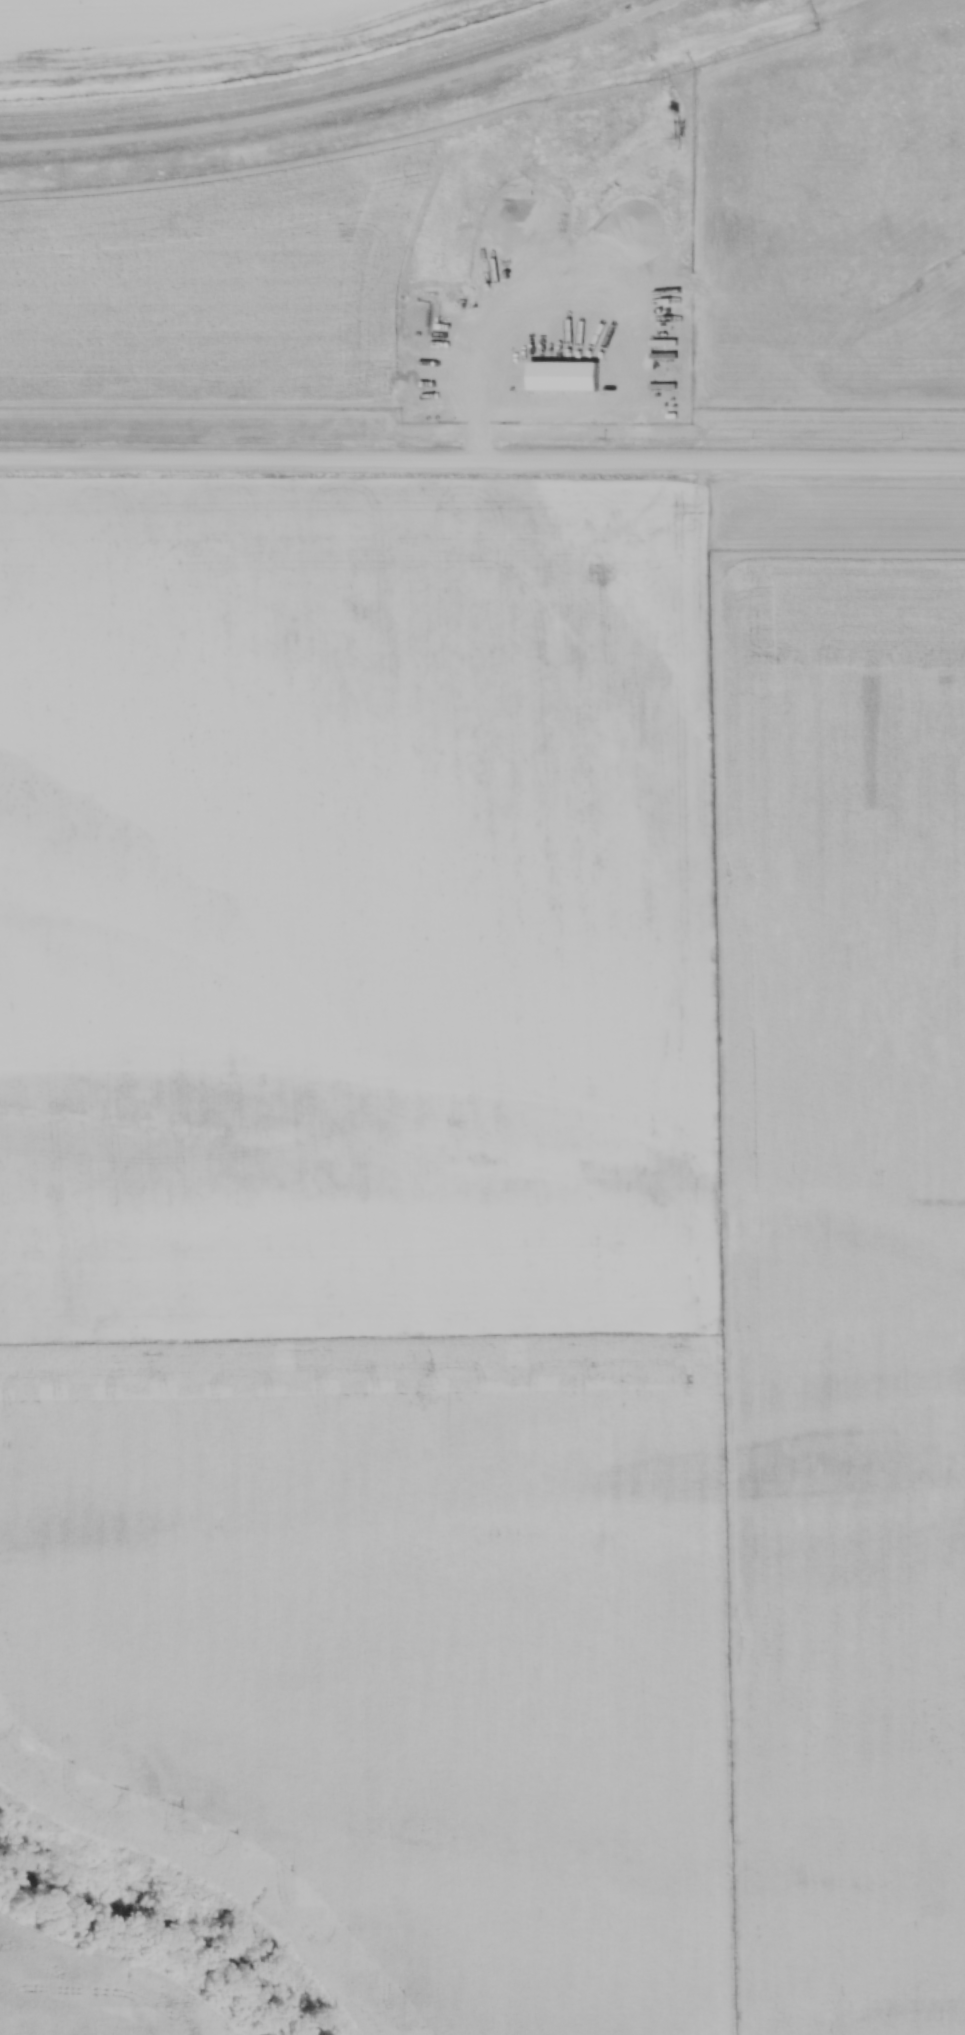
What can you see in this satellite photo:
road: (314, 79)
road: (477, 408)
road: (482, 459)

